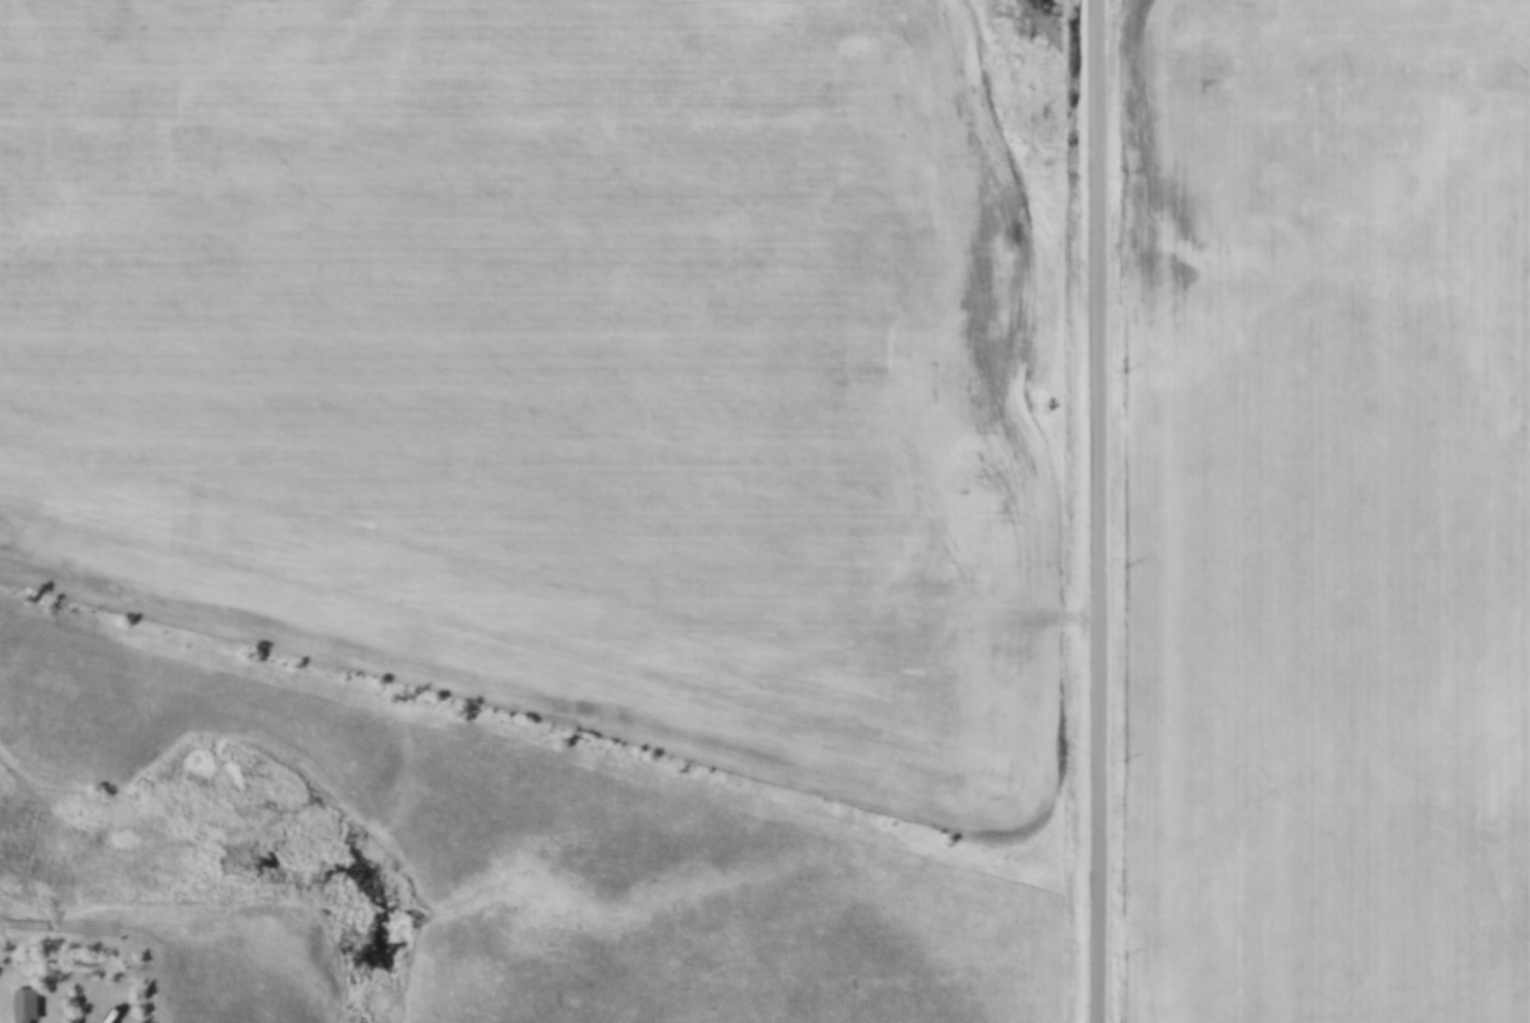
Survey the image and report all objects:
road: (1101, 511)
building: (22, 997)

